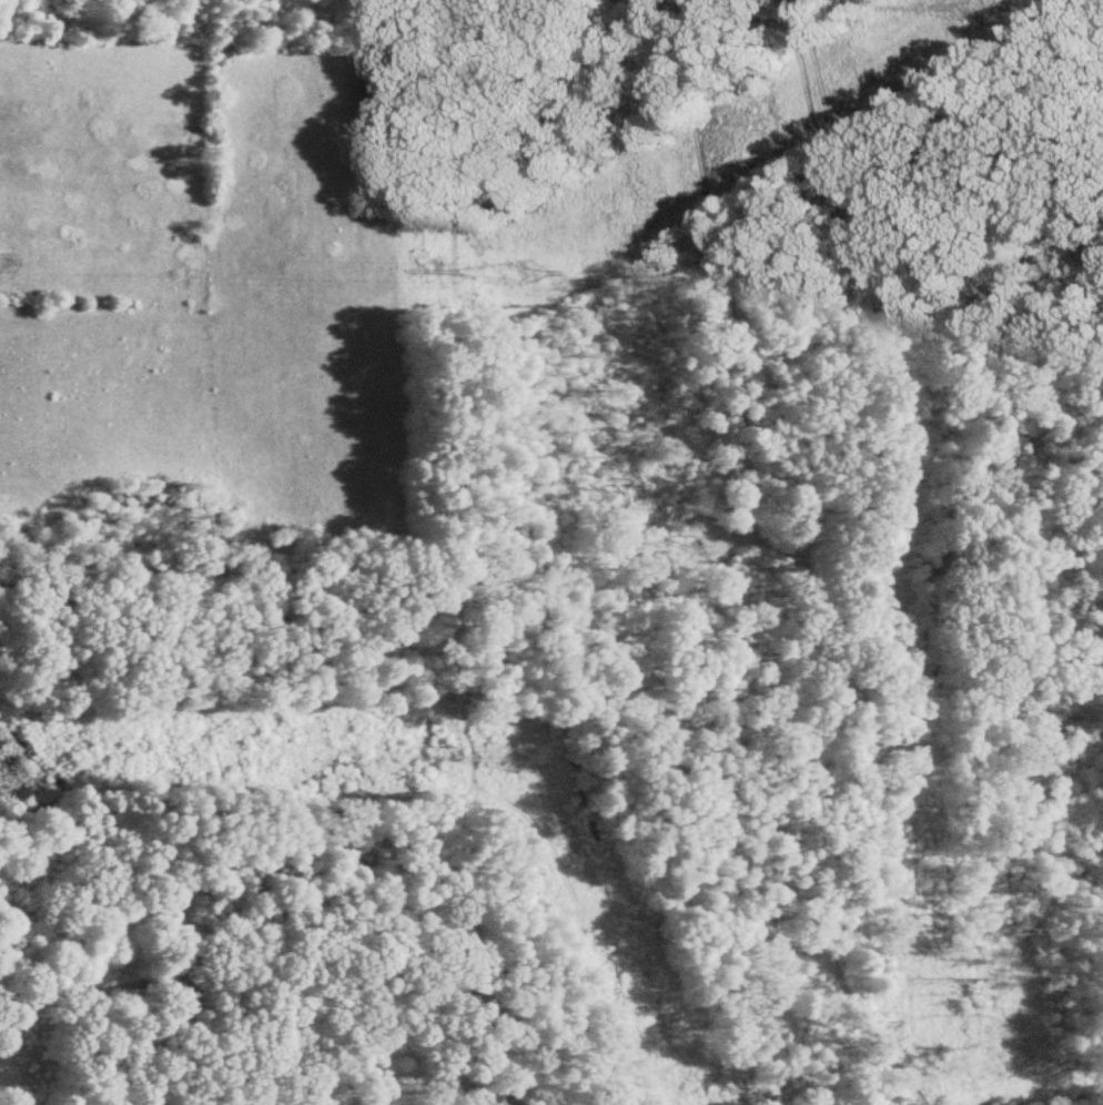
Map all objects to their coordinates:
power tower: (988, 9)
power tower: (519, 274)
power tower: (515, 759)

